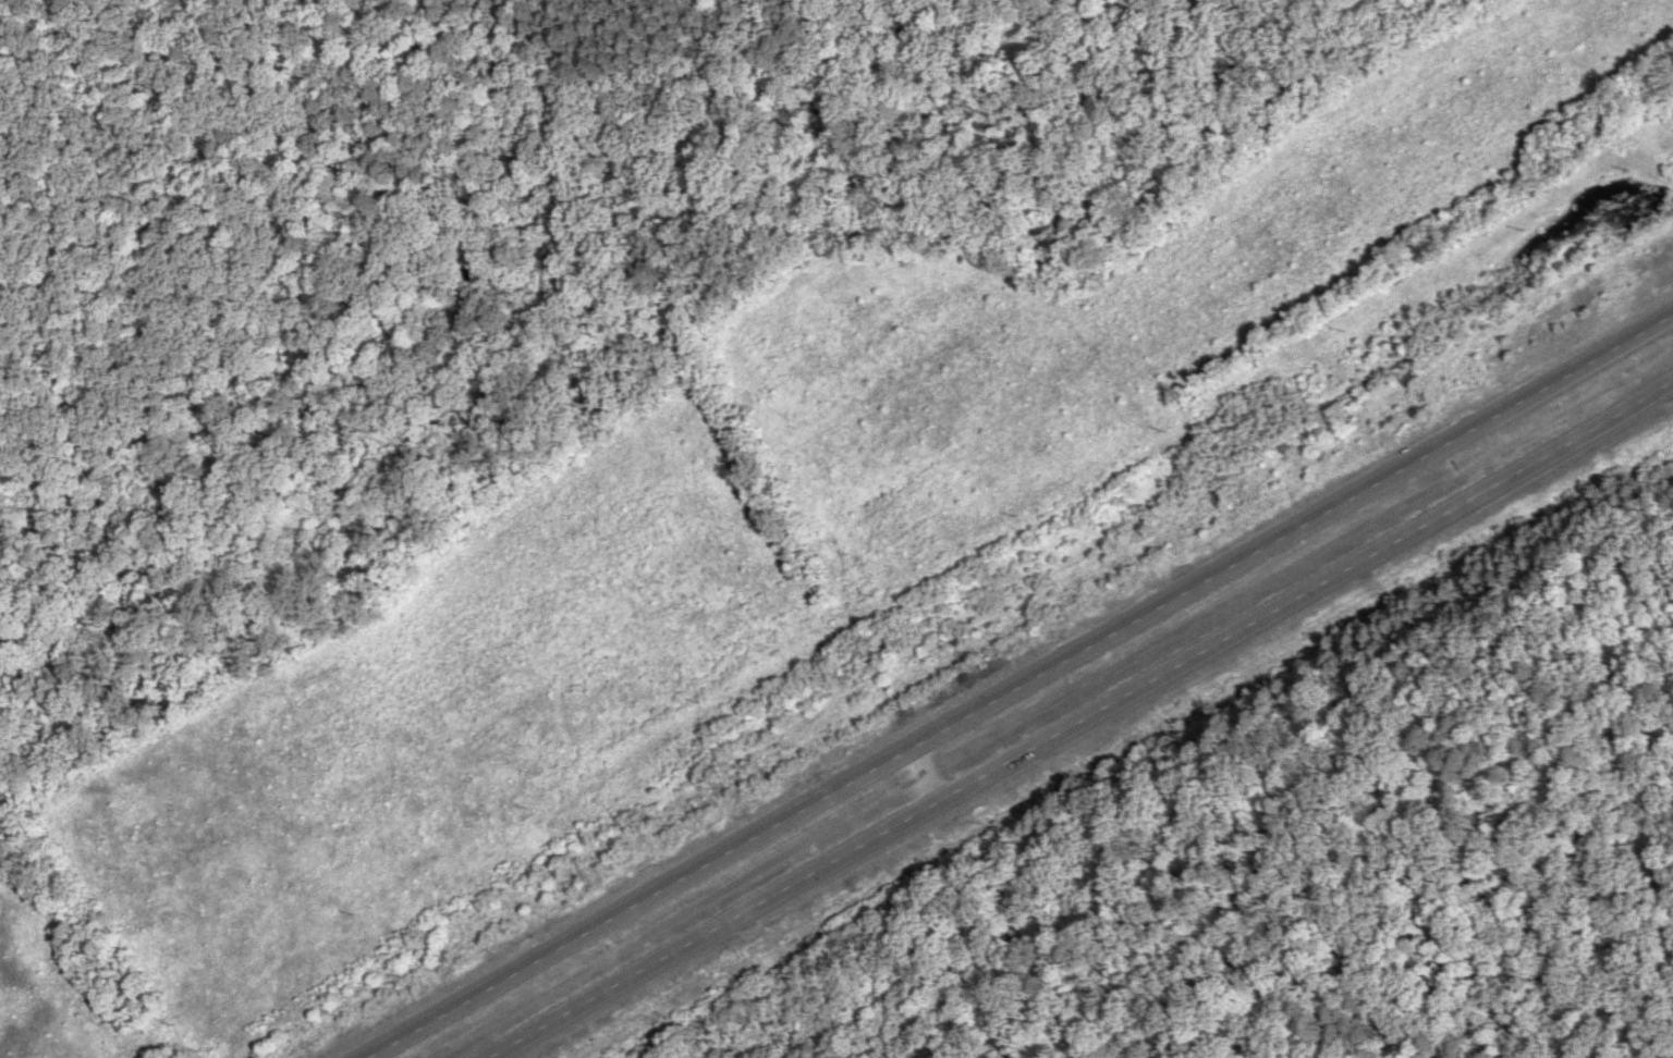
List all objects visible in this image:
road: (661, 1)
road: (188, 150)
road: (1022, 687)
road: (1079, 712)
road: (1119, 734)

